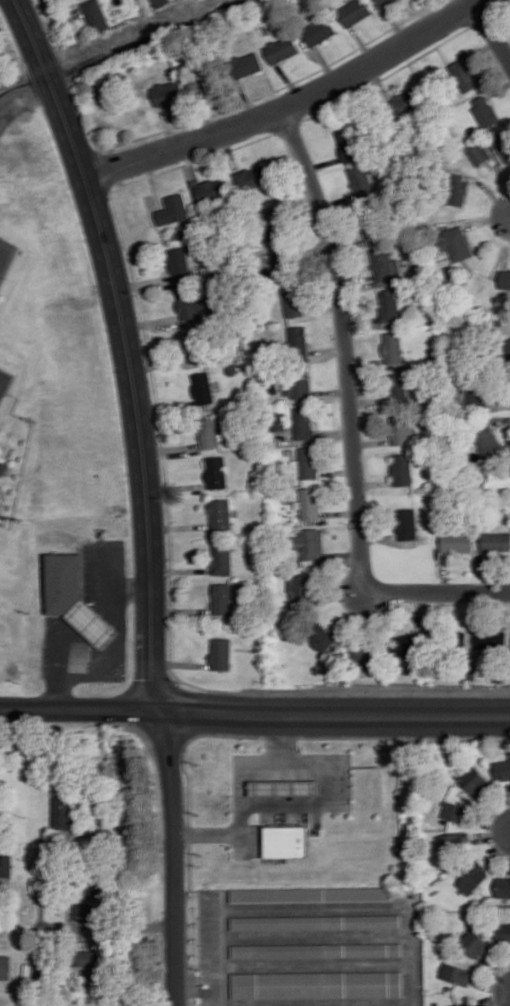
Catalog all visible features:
building: (160, 2)
building: (382, 2)
building: (354, 12)
building: (96, 15)
road: (28, 28)
building: (319, 31)
road: (492, 31)
river: (124, 49)
building: (282, 49)
building: (245, 65)
building: (464, 75)
road: (49, 76)
building: (203, 81)
building: (168, 93)
building: (405, 103)
road: (289, 105)
building: (484, 111)
road: (168, 126)
building: (348, 144)
building: (503, 144)
building: (478, 153)
building: (252, 177)
building: (361, 180)
building: (211, 190)
building: (457, 190)
road: (490, 191)
building: (173, 209)
building: (271, 224)
building: (372, 235)
building: (455, 243)
parking lot: (6, 254)
building: (279, 259)
building: (179, 263)
building: (384, 263)
building: (504, 279)
building: (292, 301)
building: (188, 304)
building: (388, 304)
building: (298, 340)
building: (194, 345)
building: (392, 347)
building: (506, 348)
building: (5, 382)
building: (297, 384)
building: (203, 388)
building: (397, 388)
building: (477, 394)
road: (135, 397)
road: (350, 414)
building: (278, 420)
road: (500, 420)
building: (303, 423)
building: (399, 429)
building: (209, 432)
building: (486, 440)
building: (305, 463)
building: (3, 466)
building: (402, 469)
building: (216, 471)
building: (309, 502)
building: (220, 513)
building: (406, 523)
building: (495, 541)
building: (456, 542)
building: (308, 546)
building: (221, 558)
building: (299, 588)
building: (75, 598)
building: (222, 598)
building: (323, 637)
building: (459, 639)
building: (490, 639)
building: (405, 645)
road: (119, 650)
building: (221, 653)
road: (254, 711)
road: (272, 736)
road: (282, 738)
building: (502, 770)
building: (473, 779)
building: (284, 787)
road: (325, 798)
building: (63, 811)
building: (455, 811)
road: (493, 822)
road: (493, 834)
building: (286, 840)
building: (453, 843)
street lamp: (494, 843)
road: (173, 857)
building: (5, 863)
building: (473, 878)
building: (502, 887)
building: (311, 893)
building: (316, 921)
building: (503, 933)
building: (475, 943)
road: (211, 948)
building: (317, 949)
building: (88, 961)
building: (5, 965)
road: (498, 969)
building: (456, 973)
road: (193, 983)
road: (495, 983)
building: (317, 984)
road: (494, 998)
building: (463, 1004)
road: (509, 1005)

